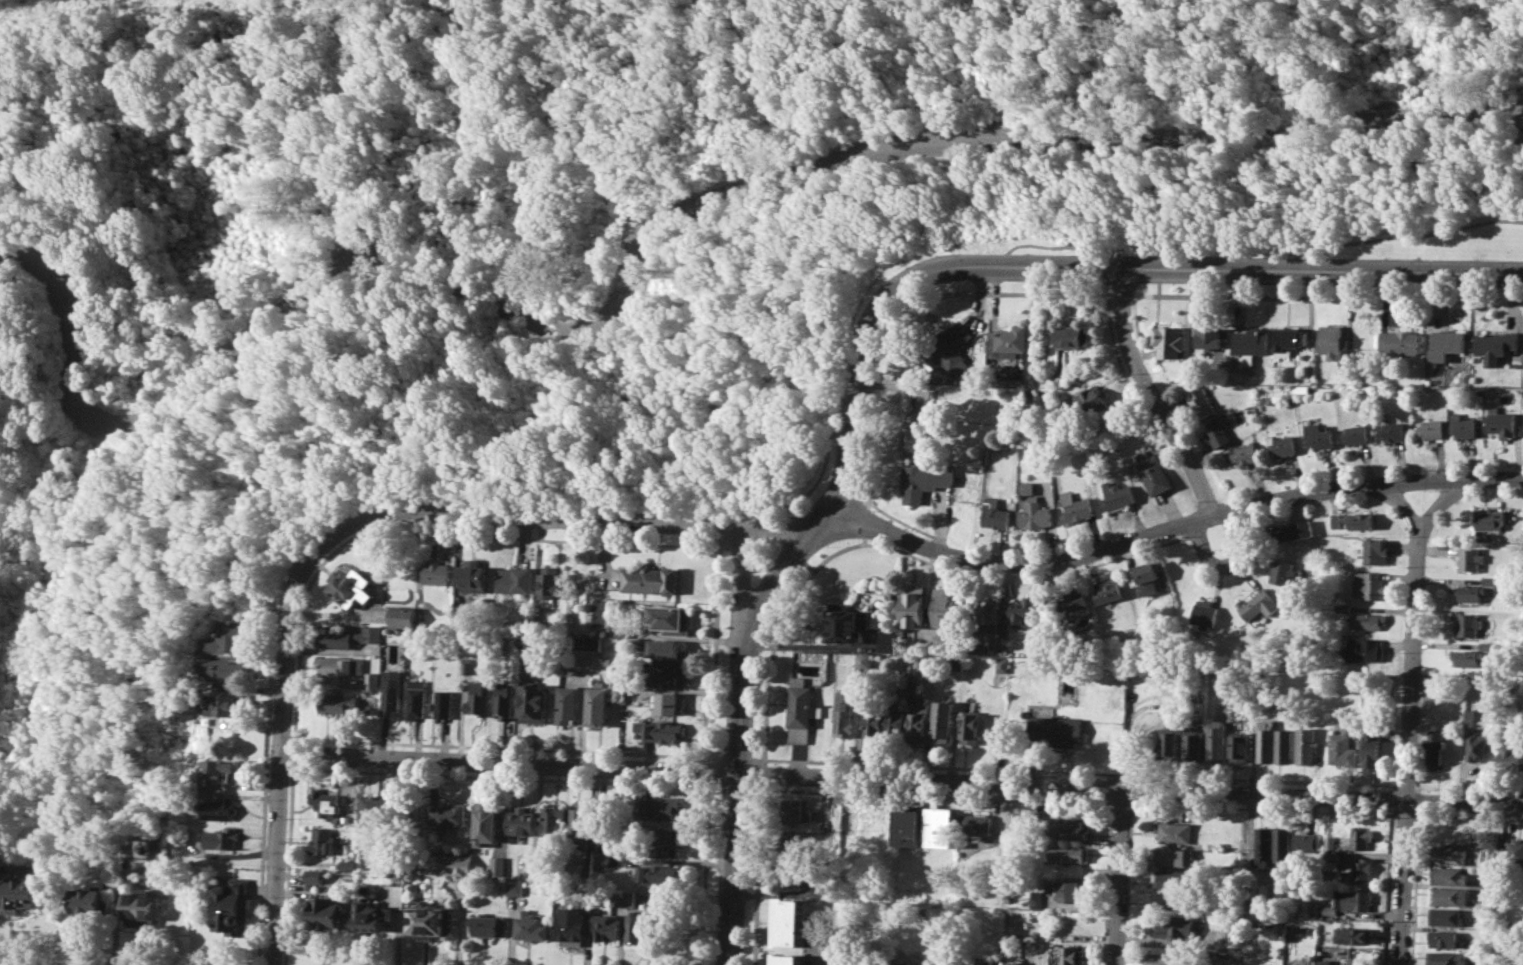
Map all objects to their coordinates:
road: (650, 237)
road: (1263, 246)
park: (595, 251)
road: (1000, 266)
road: (1080, 268)
road: (898, 328)
building: (1075, 336)
building: (1211, 337)
building: (1171, 340)
building: (1291, 340)
building: (1334, 340)
building: (1009, 341)
building: (1401, 341)
building: (947, 344)
building: (1447, 344)
building: (1252, 345)
building: (1497, 345)
building: (1301, 388)
road: (1153, 395)
building: (1093, 401)
building: (1201, 401)
building: (1502, 423)
building: (1464, 425)
building: (1432, 428)
building: (914, 431)
building: (1394, 431)
road: (851, 432)
building: (1219, 432)
building: (1357, 434)
building: (1319, 436)
building: (1282, 445)
building: (1246, 453)
building: (1155, 471)
building: (925, 479)
building: (1028, 487)
building: (1118, 495)
road: (802, 496)
road: (868, 503)
road: (1436, 504)
road: (877, 506)
building: (1077, 507)
building: (996, 513)
building: (1036, 514)
road: (561, 518)
building: (1489, 518)
road: (866, 520)
building: (1351, 521)
road: (724, 527)
road: (1165, 527)
building: (1292, 530)
road: (801, 541)
building: (1371, 549)
road: (1204, 552)
building: (1469, 558)
building: (434, 571)
building: (1283, 571)
building: (472, 573)
building: (1146, 576)
building: (648, 579)
building: (1487, 579)
building: (515, 580)
building: (550, 581)
building: (1368, 585)
building: (351, 586)
building: (1110, 591)
building: (1469, 592)
building: (1075, 601)
road: (740, 603)
building: (946, 605)
building: (1256, 605)
building: (913, 606)
building: (1341, 607)
building: (1026, 610)
building: (1203, 613)
building: (990, 614)
building: (404, 616)
building: (669, 618)
building: (1366, 620)
building: (845, 622)
building: (1466, 624)
building: (622, 630)
road: (779, 632)
building: (229, 637)
building: (348, 637)
building: (888, 639)
building: (526, 641)
building: (587, 642)
building: (980, 642)
building: (1362, 648)
building: (667, 651)
building: (1465, 657)
building: (862, 659)
building: (924, 662)
building: (953, 663)
building: (341, 665)
building: (465, 665)
building: (1002, 665)
building: (224, 668)
building: (569, 670)
building: (669, 676)
building: (372, 679)
building: (620, 682)
building: (391, 693)
building: (479, 698)
building: (416, 699)
building: (504, 700)
building: (669, 702)
building: (337, 703)
building: (443, 703)
building: (534, 703)
building: (225, 704)
building: (568, 704)
building: (597, 705)
building: (801, 710)
building: (843, 714)
building: (1469, 716)
building: (944, 717)
building: (919, 718)
road: (1409, 719)
building: (897, 722)
building: (875, 723)
building: (973, 728)
building: (661, 730)
building: (1058, 730)
building: (1215, 740)
building: (1264, 740)
building: (1169, 744)
building: (1192, 745)
building: (1283, 745)
building: (1305, 745)
building: (1237, 746)
building: (1370, 747)
building: (1341, 748)
building: (1478, 748)
building: (1433, 749)
road: (281, 750)
road: (608, 751)
road: (293, 753)
road: (737, 754)
road: (714, 757)
road: (737, 757)
building: (1509, 757)
road: (764, 761)
building: (216, 769)
road: (1080, 772)
road: (764, 773)
road: (901, 779)
road: (1405, 786)
road: (1418, 789)
road: (1469, 789)
road: (938, 795)
road: (265, 800)
road: (1418, 800)
building: (326, 802)
road: (1121, 802)
building: (663, 806)
road: (1260, 808)
building: (219, 809)
building: (792, 811)
road: (1403, 814)
building: (376, 815)
building: (447, 815)
road: (1467, 817)
building: (521, 820)
building: (1015, 822)
building: (486, 823)
building: (553, 823)
building: (977, 824)
building: (582, 826)
building: (909, 826)
building: (943, 826)
building: (1067, 828)
building: (1174, 832)
building: (1358, 836)
building: (220, 838)
building: (1491, 839)
building: (323, 840)
building: (792, 841)
building: (1306, 841)
building: (660, 842)
building: (1329, 842)
building: (1281, 845)
building: (1262, 847)
building: (1066, 853)
road: (227, 854)
building: (1451, 855)
building: (1176, 856)
building: (1515, 856)
building: (604, 858)
building: (397, 859)
building: (1330, 860)
building: (349, 863)
building: (459, 863)
road: (288, 865)
building: (497, 865)
road: (17, 868)
building: (1361, 869)
building: (538, 870)
building: (792, 873)
building: (659, 874)
road: (759, 874)
building: (315, 875)
building: (1449, 875)
road: (1117, 876)
building: (1174, 878)
building: (1049, 886)
road: (1414, 886)
building: (515, 887)
road: (1386, 889)
building: (1071, 891)
building: (20, 893)
road: (117, 894)
building: (397, 895)
building: (1449, 895)
building: (617, 897)
building: (630, 897)
building: (1006, 898)
building: (1033, 898)
building: (1173, 900)
building: (1356, 900)
building: (88, 902)
building: (233, 907)
building: (141, 909)
building: (1329, 910)
building: (327, 913)
building: (1446, 916)
building: (370, 917)
building: (429, 920)
road: (463, 920)
building: (790, 921)
building: (573, 924)
building: (490, 926)
building: (532, 926)
building: (607, 926)
building: (1174, 926)
building: (636, 928)
building: (1281, 928)
building: (1304, 930)
building: (1235, 933)
building: (1353, 934)
road: (622, 937)
building: (1444, 939)
building: (1069, 954)
building: (1442, 958)
building: (788, 959)
building: (984, 960)
road: (58, 962)
building: (1325, 962)
building: (905, 963)
building: (1012, 963)
building: (1159, 964)
building: (1185, 964)
building: (1217, 964)
building: (1292, 964)

